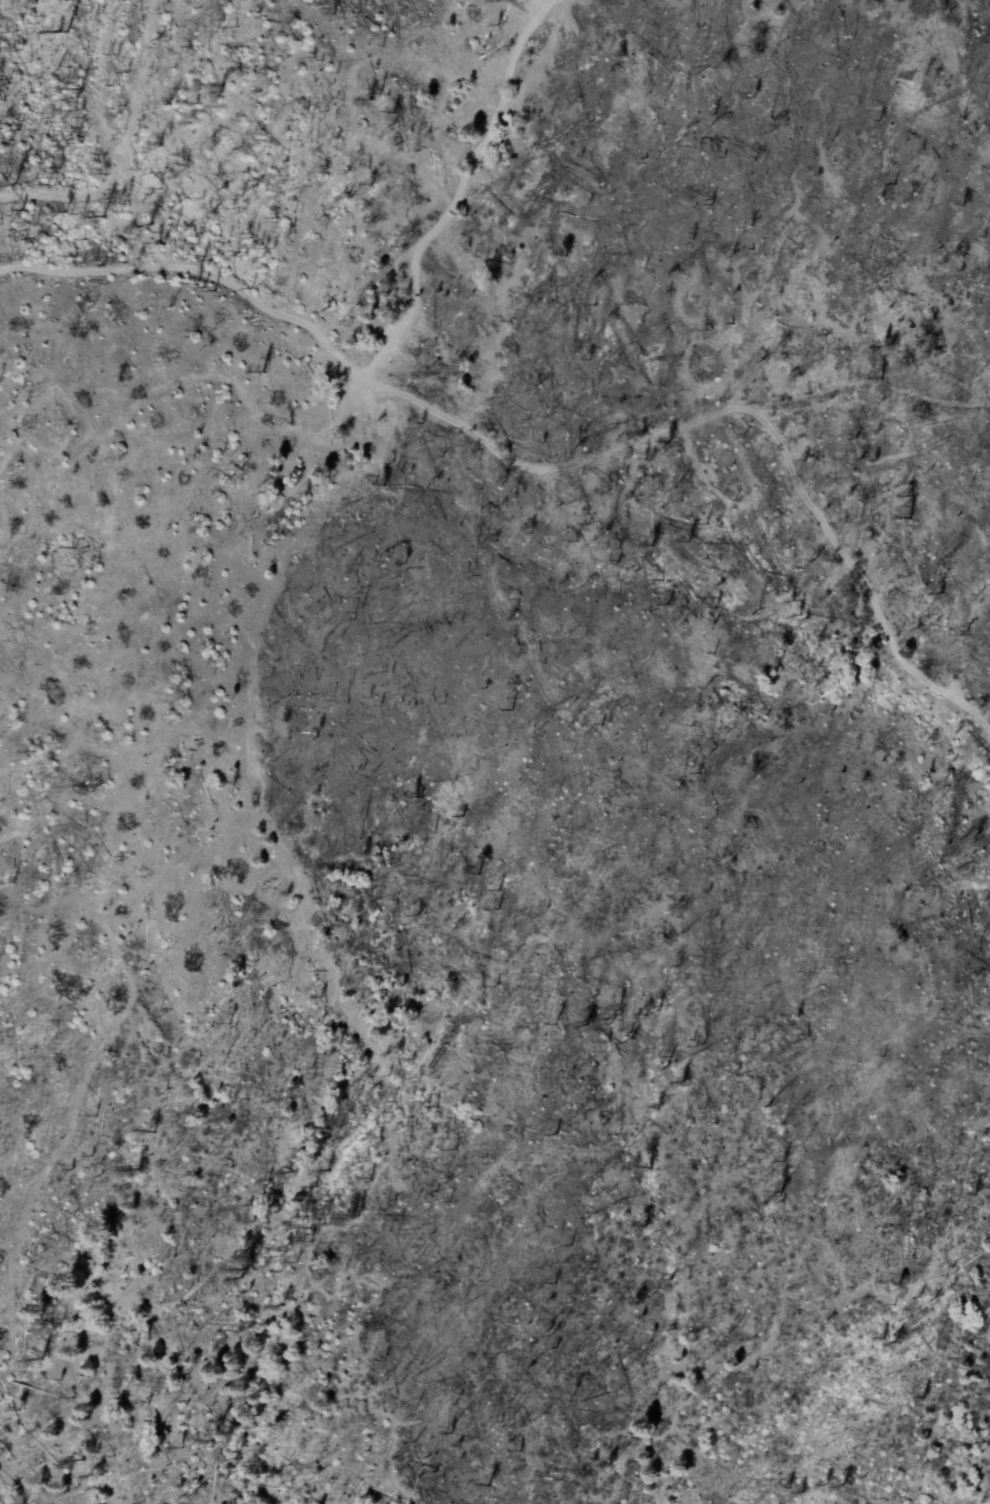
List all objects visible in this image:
road: (125, 146)
road: (459, 197)
road: (556, 475)

